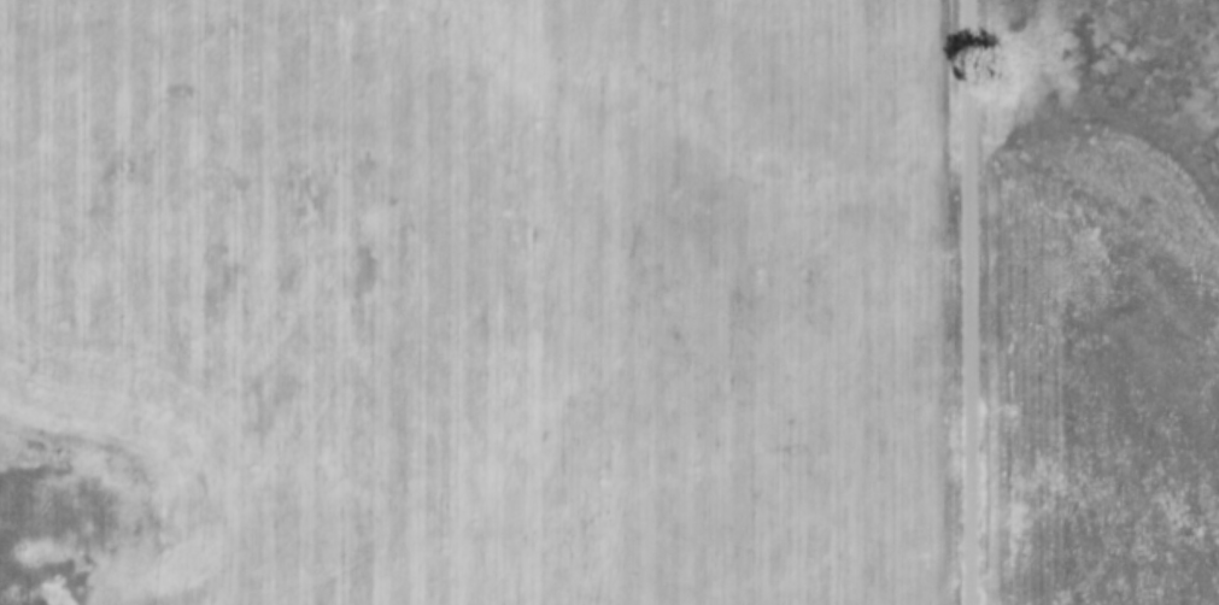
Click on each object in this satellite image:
road: (968, 301)

